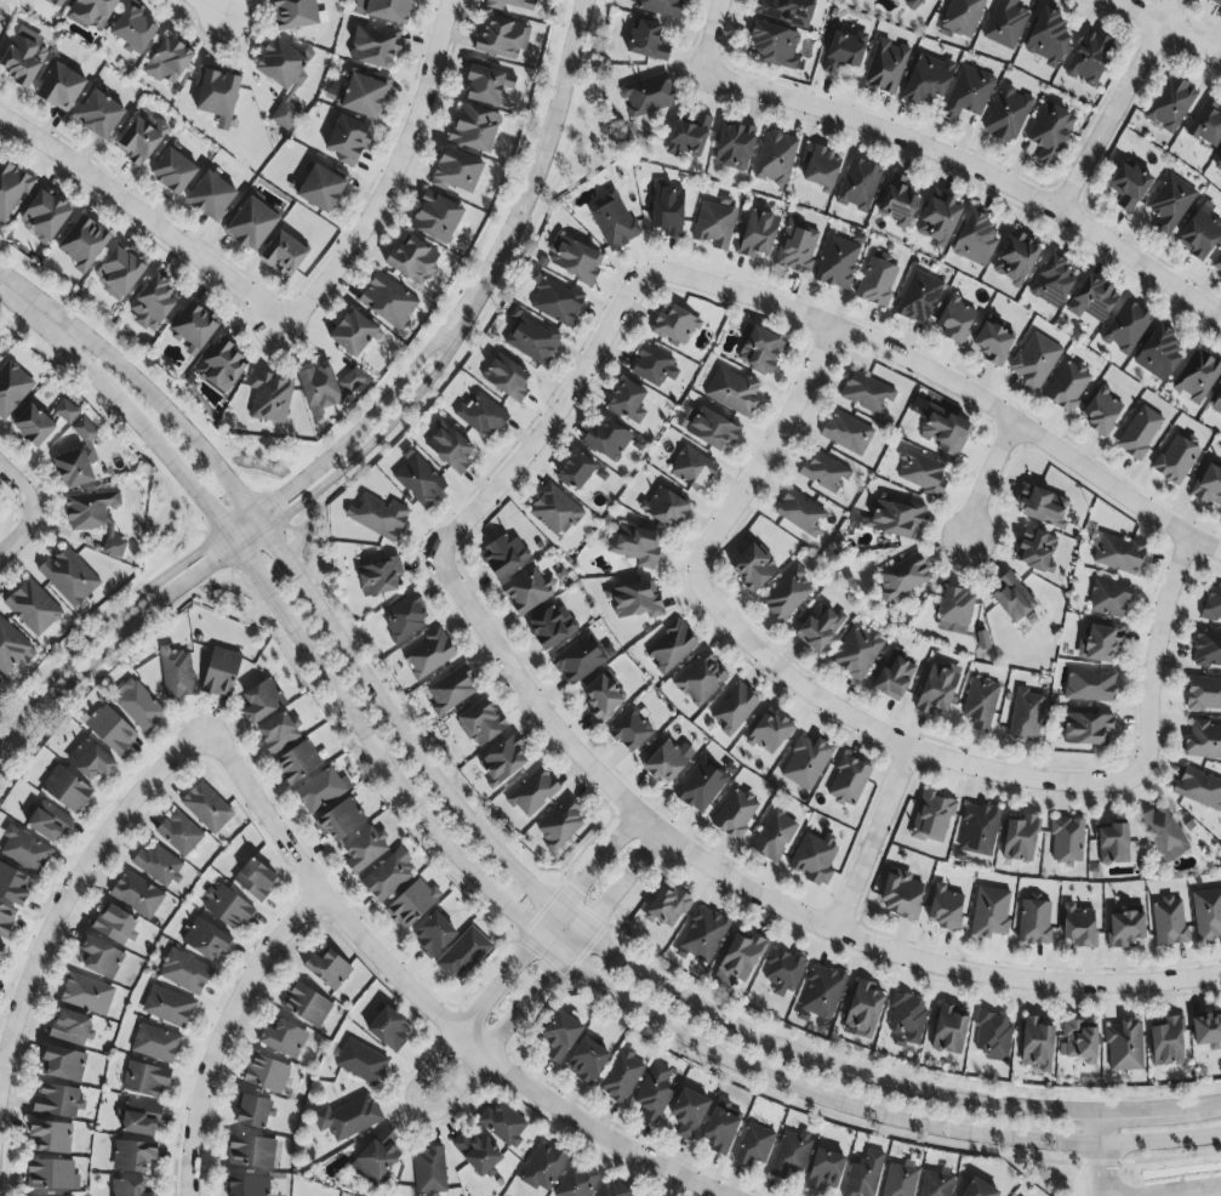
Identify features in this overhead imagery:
building: (56, 2)
building: (1216, 2)
building: (913, 4)
road: (211, 7)
building: (660, 7)
building: (384, 10)
building: (787, 11)
building: (91, 13)
building: (295, 13)
building: (1219, 15)
building: (963, 17)
building: (1005, 24)
road: (1175, 24)
building: (132, 32)
road: (709, 35)
building: (1048, 38)
building: (502, 39)
building: (646, 41)
building: (375, 46)
building: (776, 46)
building: (844, 51)
building: (23, 57)
building: (1089, 57)
building: (167, 62)
building: (886, 67)
building: (283, 78)
building: (928, 80)
building: (487, 85)
building: (59, 87)
building: (968, 93)
building: (216, 95)
building: (363, 95)
building: (647, 96)
road: (1116, 104)
building: (1170, 104)
building: (99, 114)
building: (1006, 114)
building: (1208, 123)
building: (474, 129)
building: (1049, 132)
building: (689, 136)
building: (348, 141)
building: (137, 142)
building: (734, 147)
building: (776, 159)
building: (1217, 166)
road: (538, 167)
building: (818, 167)
road: (974, 170)
building: (173, 171)
building: (456, 171)
road: (396, 182)
building: (858, 186)
building: (1129, 186)
building: (11, 189)
building: (320, 189)
building: (210, 197)
building: (897, 201)
building: (1170, 204)
building: (667, 209)
building: (46, 213)
road: (143, 213)
building: (437, 217)
building: (937, 221)
building: (614, 223)
building: (715, 223)
building: (251, 224)
building: (757, 234)
building: (1199, 235)
building: (975, 239)
building: (82, 243)
building: (797, 247)
building: (284, 254)
building: (575, 258)
building: (1015, 258)
building: (413, 260)
building: (838, 262)
building: (1216, 264)
building: (119, 272)
building: (878, 279)
building: (1051, 281)
building: (919, 297)
road: (24, 300)
building: (557, 300)
building: (1091, 300)
building: (388, 301)
building: (152, 304)
building: (954, 319)
building: (675, 326)
building: (194, 328)
building: (1125, 328)
building: (354, 334)
building: (532, 340)
building: (993, 343)
building: (759, 349)
building: (1158, 353)
building: (1034, 361)
building: (654, 364)
building: (221, 366)
building: (507, 377)
building: (1196, 377)
building: (353, 378)
road: (948, 381)
building: (1067, 386)
building: (12, 388)
building: (320, 389)
building: (732, 392)
building: (867, 394)
building: (268, 398)
building: (628, 401)
building: (1216, 404)
building: (65, 411)
building: (1101, 411)
building: (481, 415)
road: (549, 418)
building: (33, 426)
road: (363, 426)
building: (712, 429)
building: (85, 431)
building: (946, 432)
building: (846, 433)
building: (1140, 433)
building: (606, 440)
road: (769, 445)
building: (450, 448)
building: (1175, 460)
building: (692, 468)
building: (74, 469)
building: (575, 471)
building: (825, 472)
building: (920, 473)
road: (987, 477)
building: (420, 482)
road: (17, 484)
building: (1209, 486)
building: (666, 506)
building: (1039, 507)
building: (90, 509)
building: (554, 511)
building: (800, 513)
building: (378, 517)
building: (895, 518)
road: (19, 534)
road: (249, 537)
building: (112, 540)
building: (635, 546)
building: (1035, 551)
building: (1118, 554)
building: (503, 556)
building: (753, 566)
building: (69, 577)
building: (378, 577)
building: (902, 577)
building: (526, 591)
building: (787, 594)
building: (1011, 599)
building: (1109, 599)
building: (633, 602)
building: (1213, 603)
building: (34, 608)
road: (120, 608)
building: (955, 611)
building: (405, 617)
building: (550, 626)
building: (818, 627)
building: (1099, 644)
building: (671, 647)
building: (12, 649)
building: (1206, 649)
road: (1152, 651)
building: (857, 653)
building: (429, 654)
building: (581, 659)
building: (221, 672)
building: (176, 674)
building: (895, 674)
building: (700, 679)
building: (0, 682)
building: (1090, 685)
building: (937, 688)
building: (451, 690)
building: (1203, 694)
building: (603, 695)
building: (262, 701)
building: (980, 702)
building: (138, 705)
building: (734, 708)
building: (1026, 716)
building: (480, 723)
building: (1086, 729)
building: (112, 730)
building: (631, 730)
building: (276, 733)
road: (881, 733)
building: (770, 734)
road: (6, 739)
building: (1203, 741)
road: (363, 758)
building: (91, 761)
building: (502, 761)
building: (666, 761)
building: (297, 763)
building: (805, 763)
building: (848, 781)
building: (701, 786)
building: (1199, 788)
building: (65, 790)
building: (321, 790)
building: (532, 793)
building: (206, 808)
building: (736, 813)
building: (932, 818)
building: (341, 820)
building: (45, 821)
building: (560, 826)
building: (978, 830)
building: (178, 833)
building: (1164, 833)
building: (775, 836)
building: (1020, 838)
road: (871, 839)
building: (1067, 839)
building: (1112, 843)
building: (24, 850)
building: (364, 850)
building: (815, 856)
building: (158, 865)
building: (388, 876)
building: (255, 879)
building: (13, 884)
road: (70, 885)
road: (529, 885)
building: (136, 894)
building: (901, 895)
road: (759, 898)
building: (411, 904)
building: (226, 907)
building: (667, 907)
building: (945, 909)
building: (989, 912)
building: (1206, 913)
road: (515, 918)
building: (6, 921)
building: (1034, 921)
building: (1169, 922)
building: (115, 924)
building: (1078, 927)
building: (1125, 927)
building: (433, 934)
building: (703, 934)
building: (206, 939)
building: (1, 949)
building: (463, 955)
building: (101, 957)
building: (740, 958)
building: (327, 968)
building: (186, 973)
building: (782, 973)
building: (822, 992)
building: (87, 993)
building: (306, 1004)
road: (426, 1006)
building: (167, 1007)
building: (862, 1010)
building: (906, 1019)
building: (72, 1027)
building: (388, 1029)
building: (948, 1030)
building: (1206, 1030)
road: (221, 1031)
building: (559, 1036)
building: (993, 1036)
building: (284, 1040)
building: (1080, 1041)
building: (1165, 1042)
building: (155, 1043)
building: (1035, 1044)
building: (1124, 1047)
building: (586, 1061)
building: (361, 1063)
building: (62, 1064)
building: (267, 1075)
building: (621, 1076)
building: (144, 1080)
building: (655, 1090)
building: (57, 1100)
road: (415, 1107)
building: (252, 1112)
building: (687, 1114)
building: (347, 1118)
building: (138, 1120)
building: (503, 1124)
road: (862, 1128)
building: (720, 1129)
building: (51, 1137)
building: (754, 1145)
building: (251, 1151)
building: (478, 1154)
building: (791, 1154)
road: (1100, 1154)
building: (132, 1156)
building: (376, 1158)
building: (543, 1168)
building: (429, 1171)
building: (825, 1171)
building: (51, 1174)
building: (863, 1175)
building: (900, 1179)
building: (576, 1181)
building: (936, 1184)
building: (247, 1186)
building: (129, 1188)
building: (610, 1189)
building: (978, 1189)
road: (1175, 1190)
building: (58, 1195)

